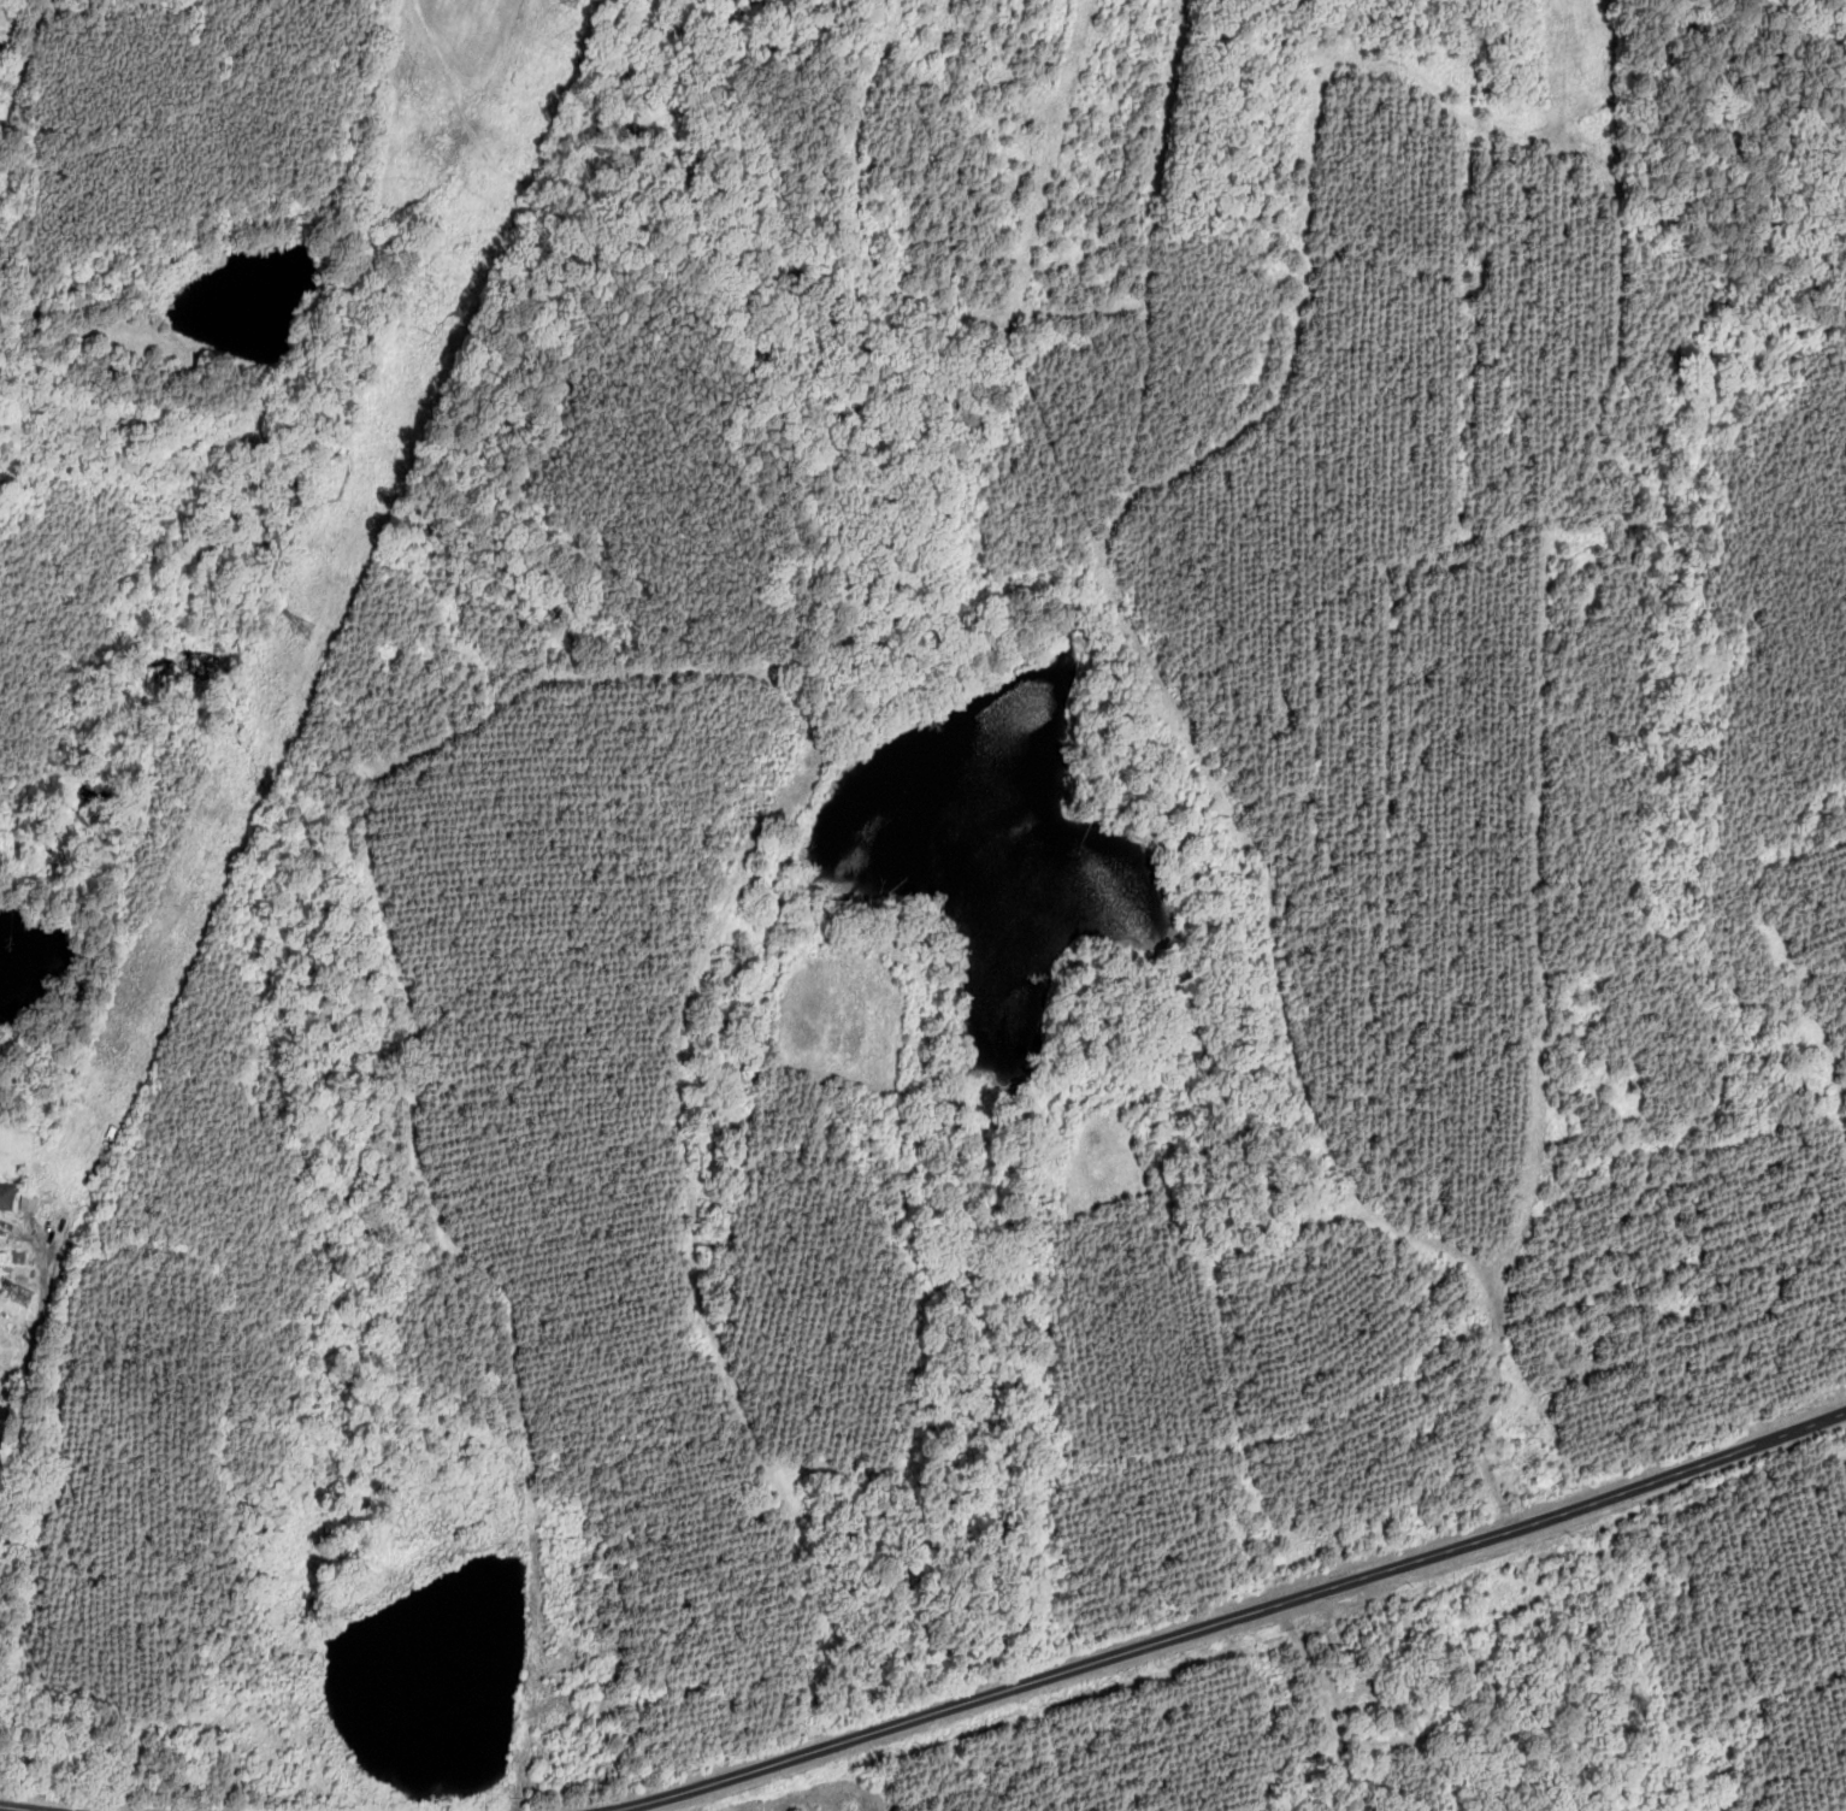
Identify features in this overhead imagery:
power tower: (574, 0)
road: (1575, 111)
crop: (173, 179)
road: (617, 208)
power tower: (309, 632)
building: (6, 1194)
building: (28, 1202)
power tower: (31, 1296)
road: (1227, 1616)
road: (19, 1809)

